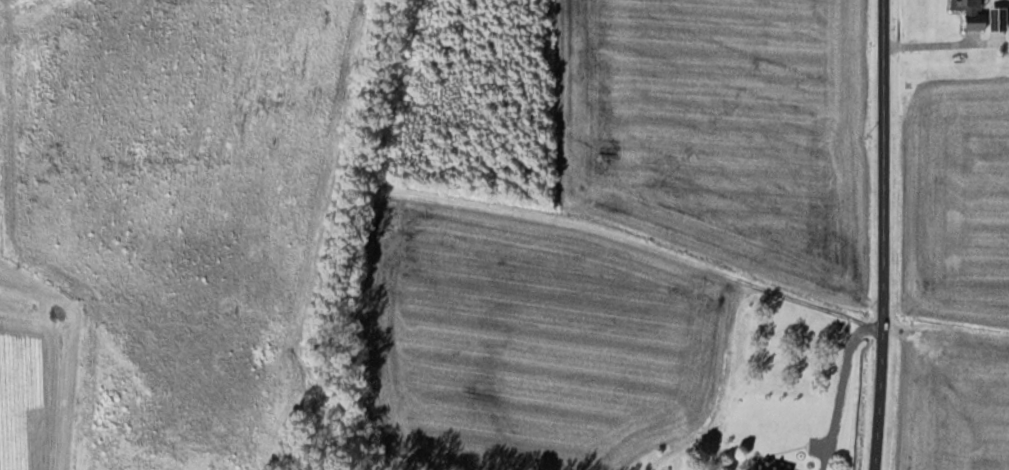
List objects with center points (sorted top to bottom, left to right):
building: (974, 13)
road: (882, 235)
road: (735, 307)
road: (841, 393)
building: (777, 467)

